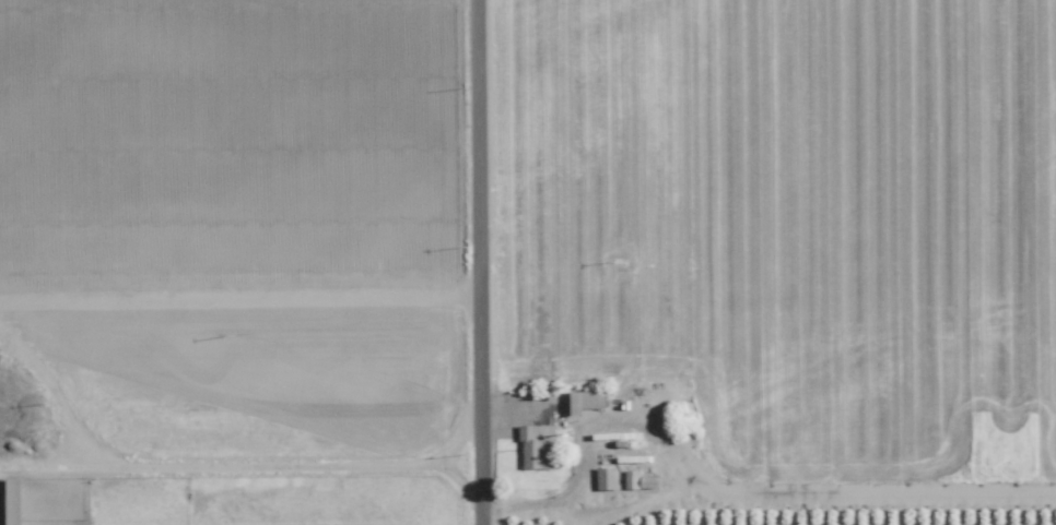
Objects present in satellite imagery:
crop: (813, 234)
road: (479, 262)
crop: (226, 263)
road: (239, 305)
road: (56, 394)
building: (585, 401)
building: (537, 446)
road: (438, 464)
road: (219, 466)
building: (606, 478)

